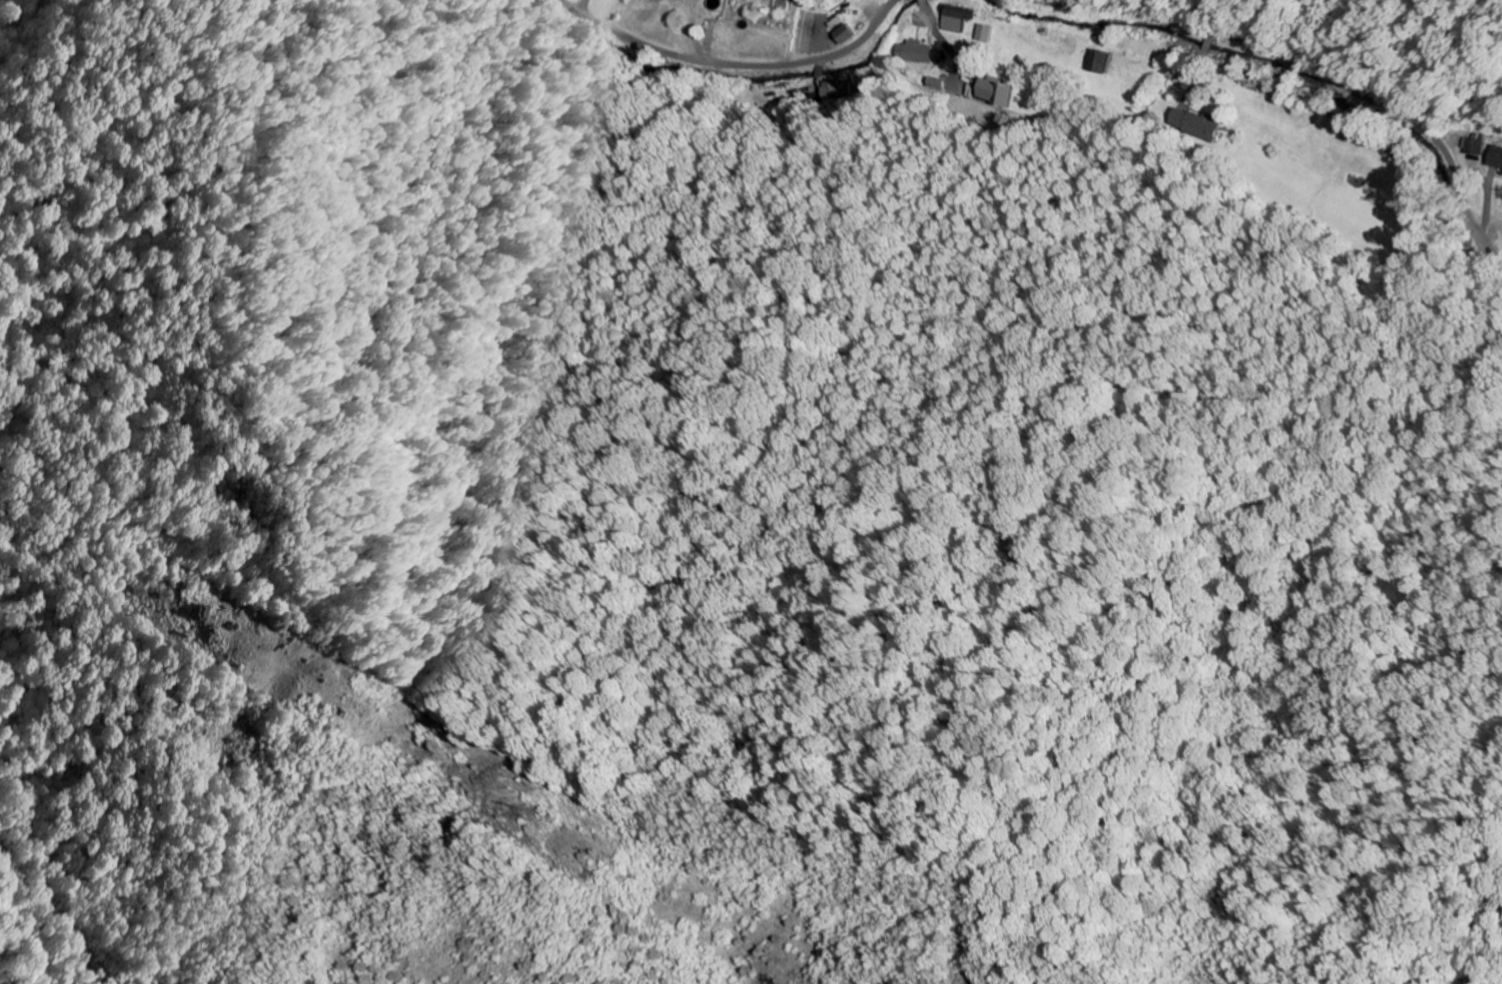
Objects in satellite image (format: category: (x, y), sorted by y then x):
road: (591, 15)
building: (961, 24)
building: (843, 36)
building: (912, 54)
building: (1097, 63)
road: (763, 65)
road: (1308, 66)
building: (993, 94)
building: (1193, 125)
building: (1474, 148)
building: (1495, 159)

